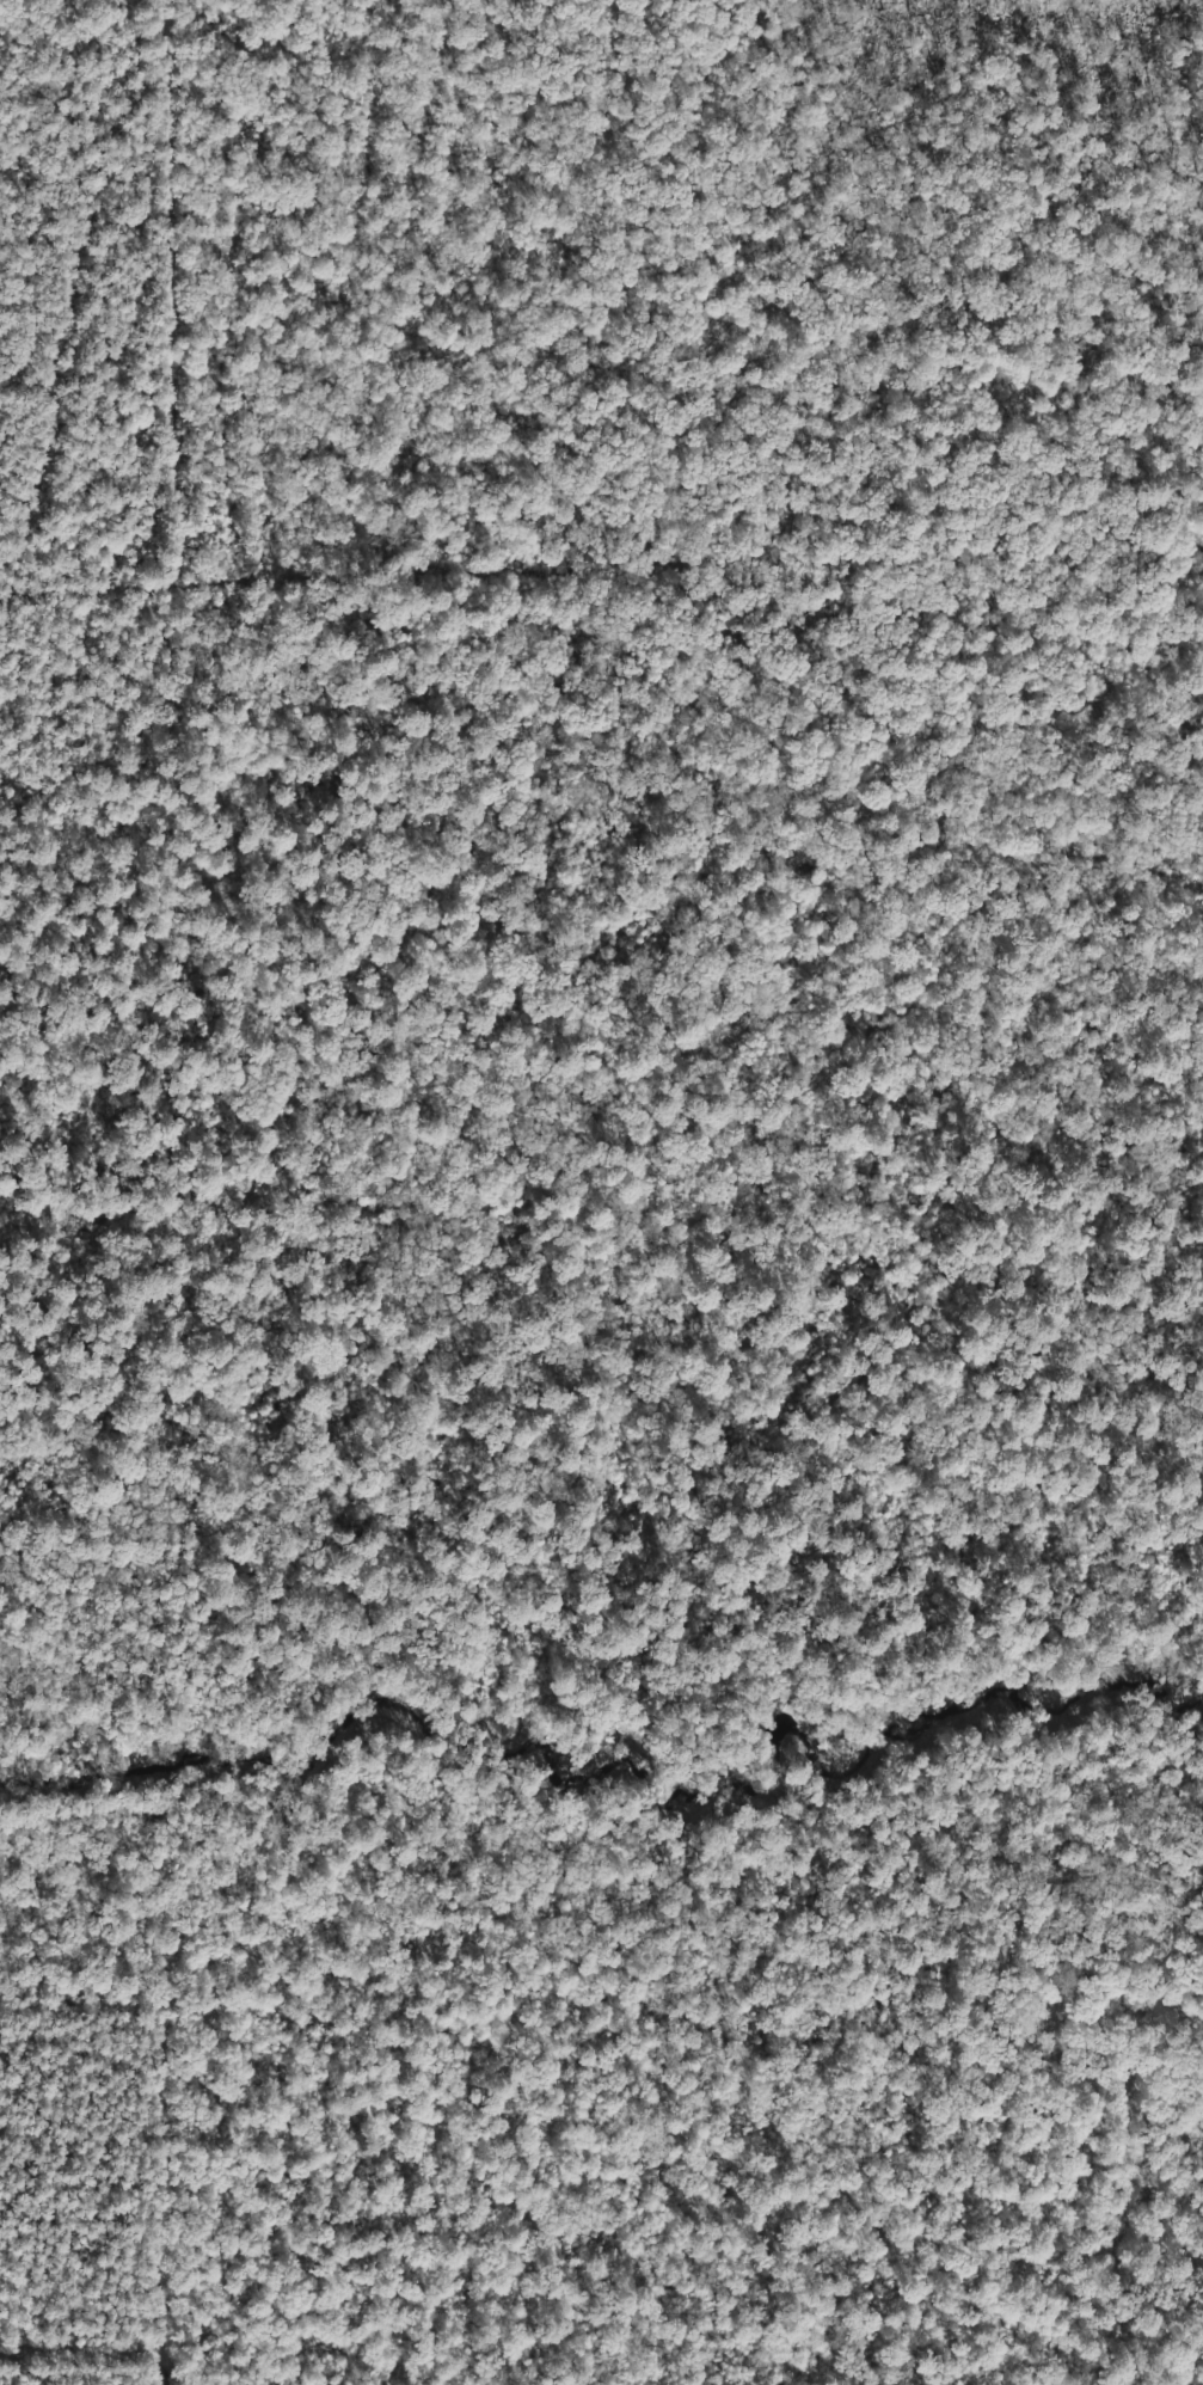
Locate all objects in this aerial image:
road: (85, 2346)
road: (170, 2366)

